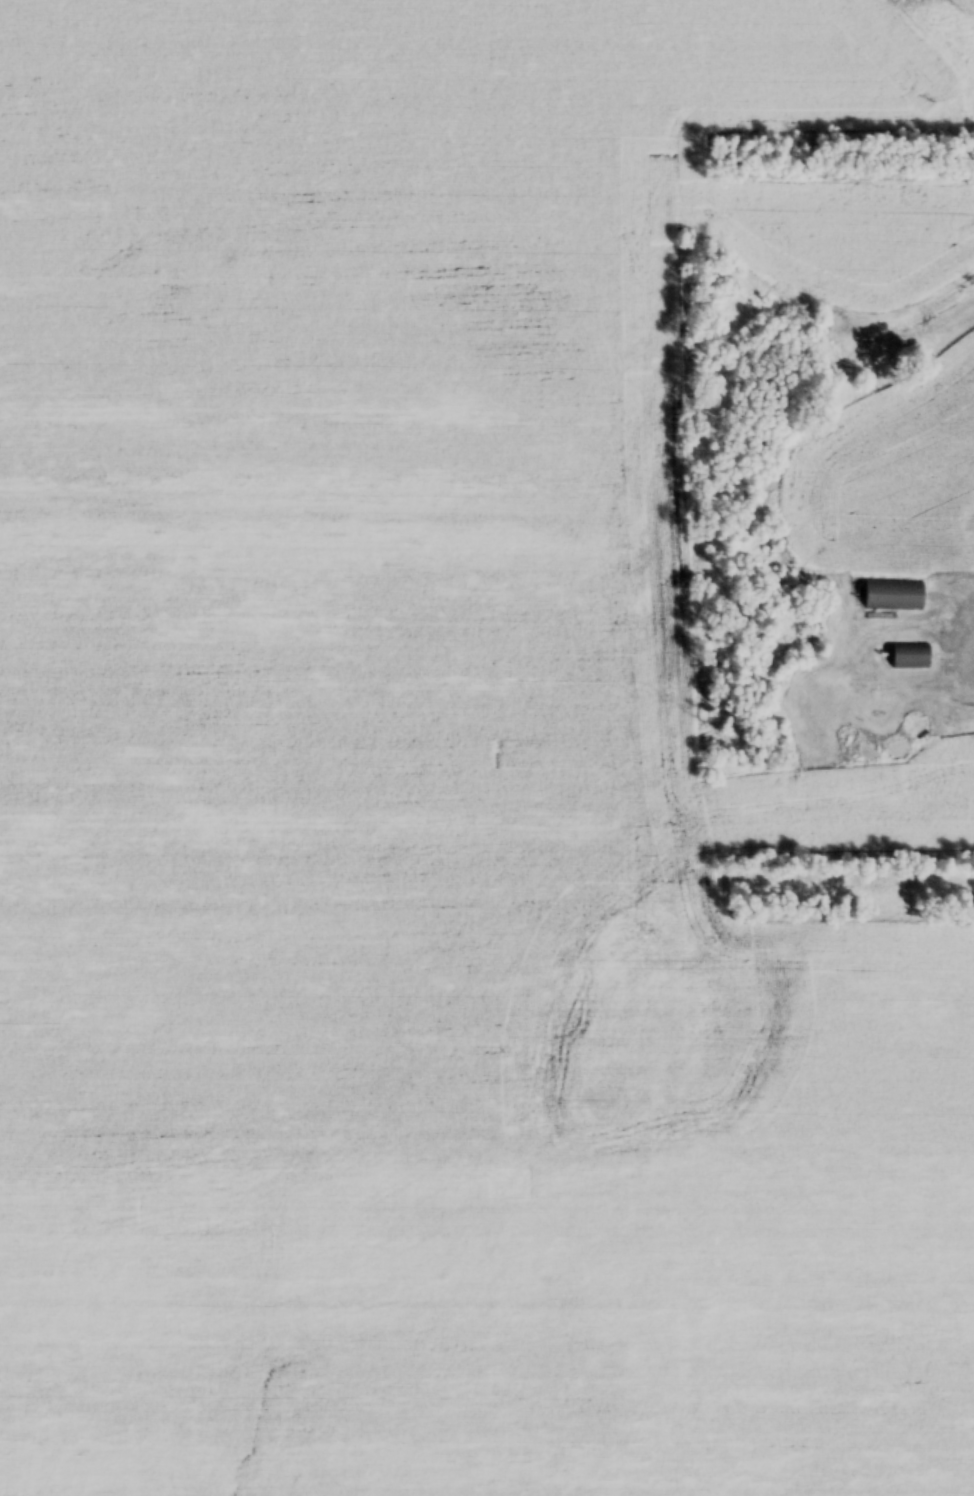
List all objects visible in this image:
building: (894, 595)
building: (910, 657)
building: (917, 725)
building: (847, 734)
building: (897, 749)
building: (867, 750)

